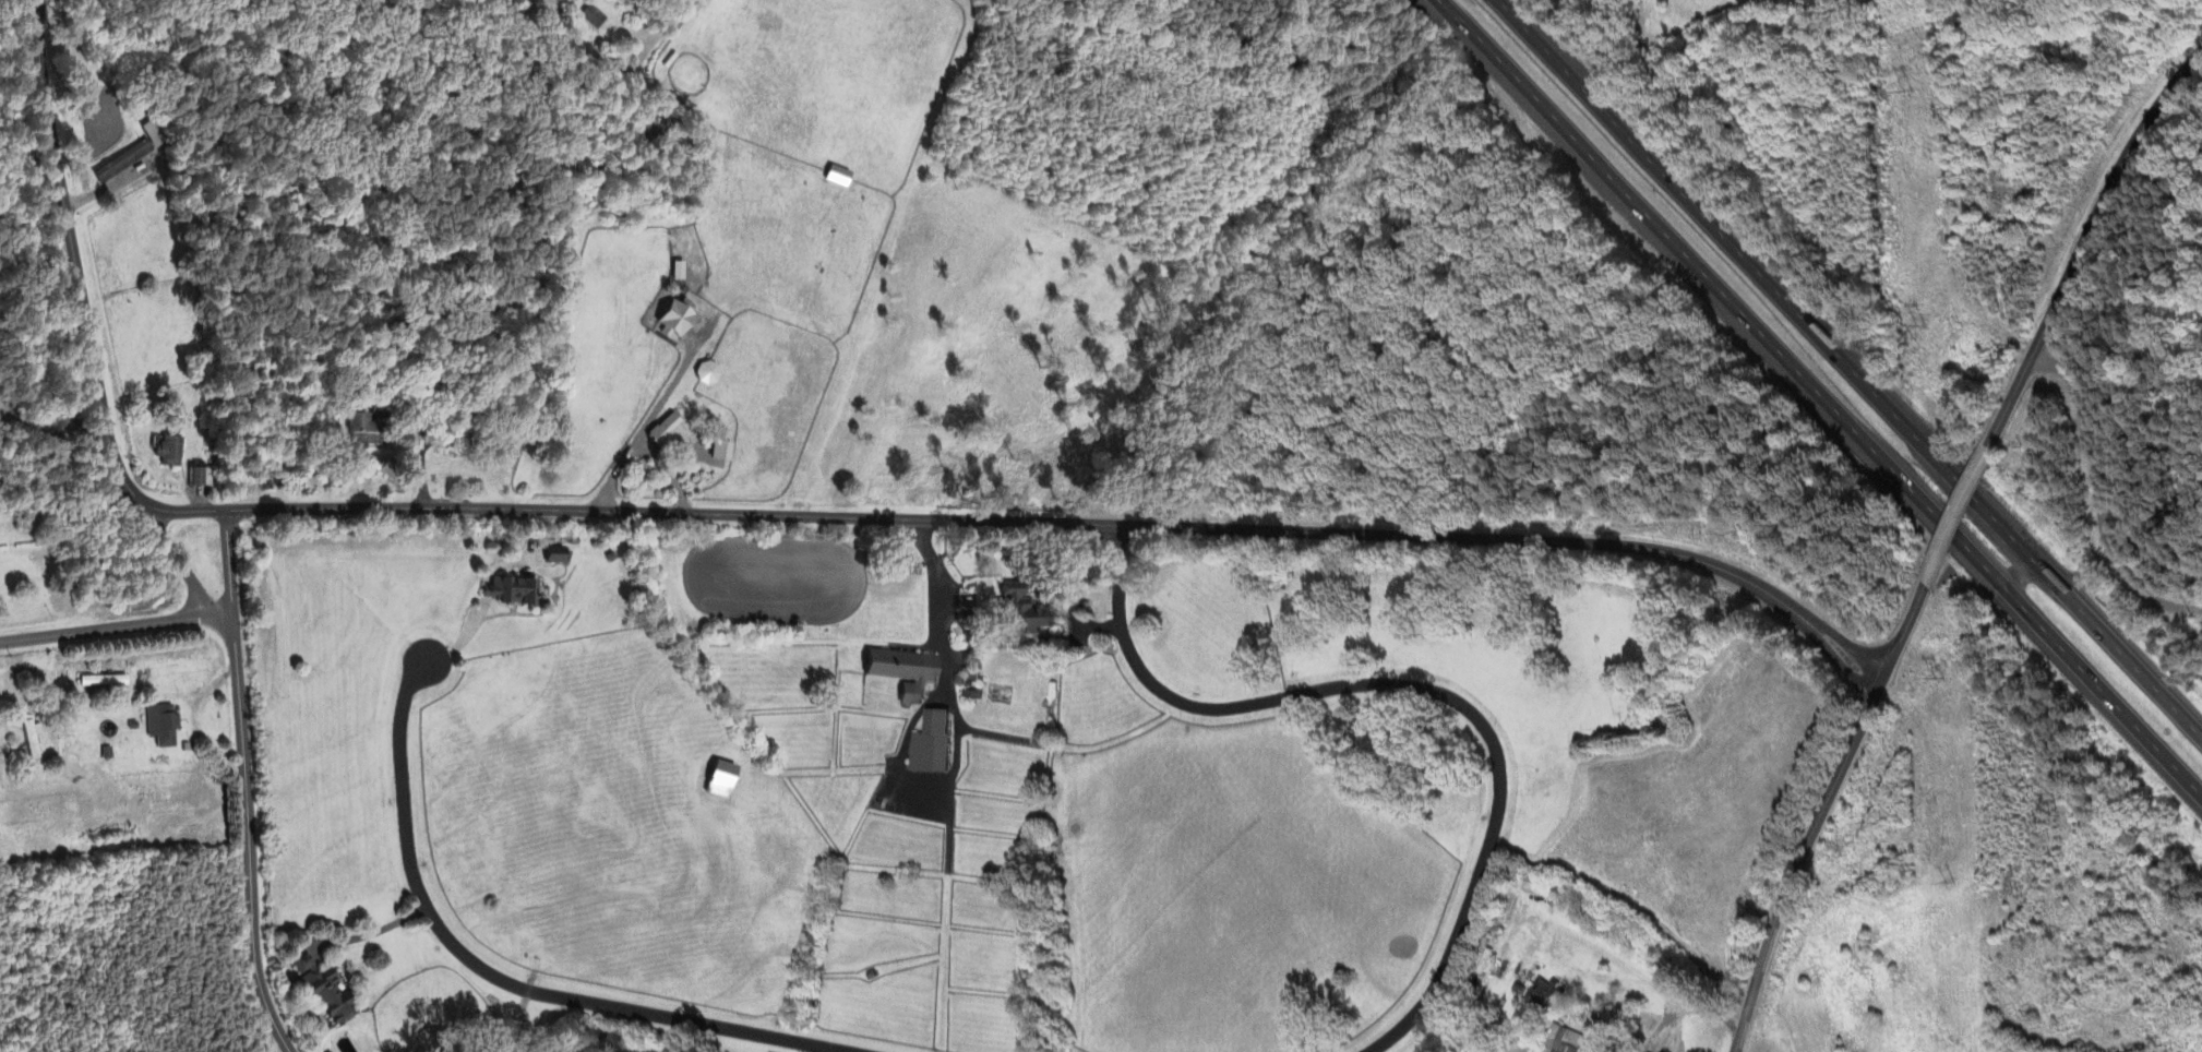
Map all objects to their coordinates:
building: (593, 17)
building: (123, 163)
building: (838, 177)
road: (115, 184)
road: (2084, 234)
road: (1730, 283)
road: (1774, 288)
building: (674, 320)
building: (707, 374)
road: (51, 430)
building: (362, 432)
building: (667, 432)
road: (637, 439)
building: (722, 452)
building: (169, 453)
road: (670, 474)
building: (201, 478)
road: (1971, 487)
road: (621, 515)
building: (554, 555)
road: (179, 560)
road: (1935, 563)
building: (512, 589)
road: (1758, 590)
road: (1919, 596)
road: (938, 605)
building: (1022, 611)
road: (117, 627)
road: (1896, 641)
road: (2125, 658)
building: (903, 670)
building: (104, 680)
road: (2097, 690)
road: (1409, 698)
building: (161, 724)
building: (32, 737)
building: (931, 742)
building: (722, 779)
road: (248, 784)
road: (1798, 860)
road: (375, 931)
road: (492, 972)
building: (325, 989)
building: (1540, 995)
road: (1683, 1008)
building: (1569, 1041)

